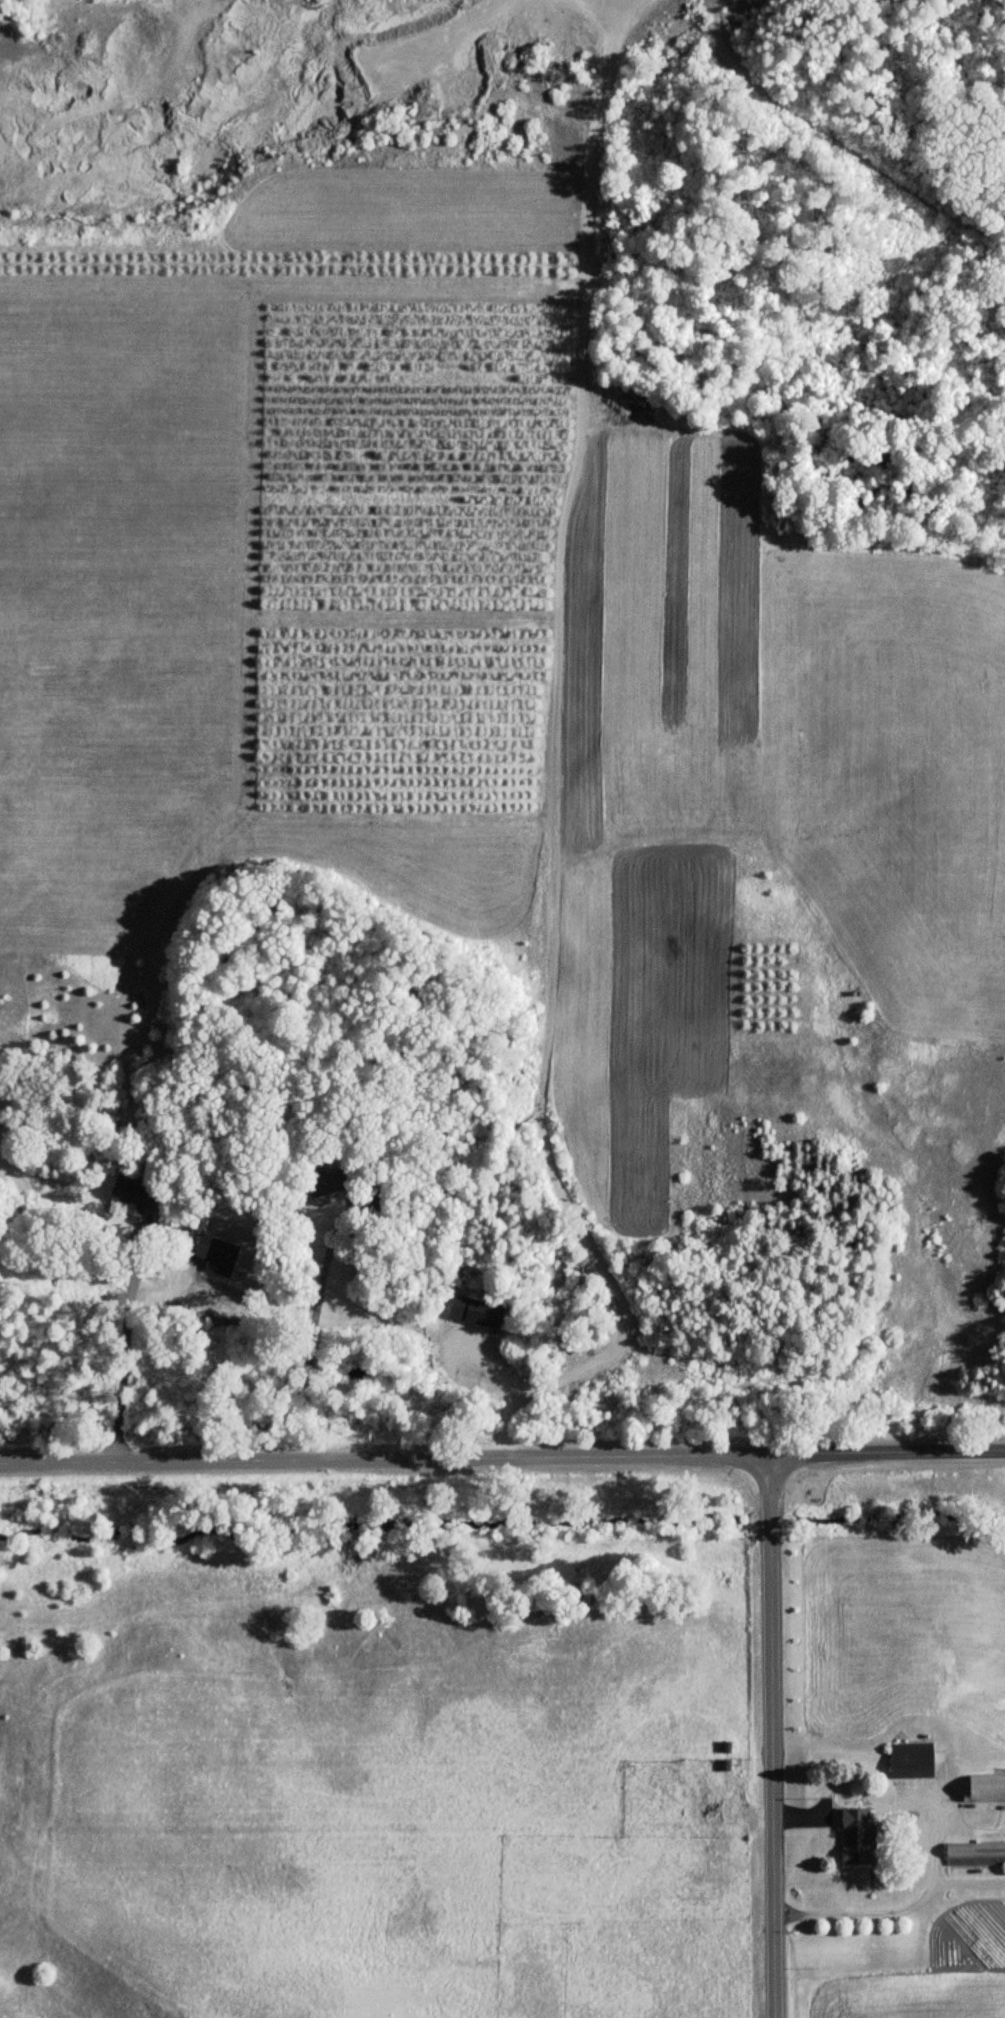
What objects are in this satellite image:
road: (515, 795)
building: (330, 1183)
building: (137, 1198)
building: (378, 1203)
building: (485, 1314)
road: (314, 1322)
road: (125, 1353)
road: (502, 1450)
road: (768, 1732)
building: (912, 1761)
building: (987, 1789)
building: (859, 1837)
building: (976, 1854)
road: (891, 1911)

